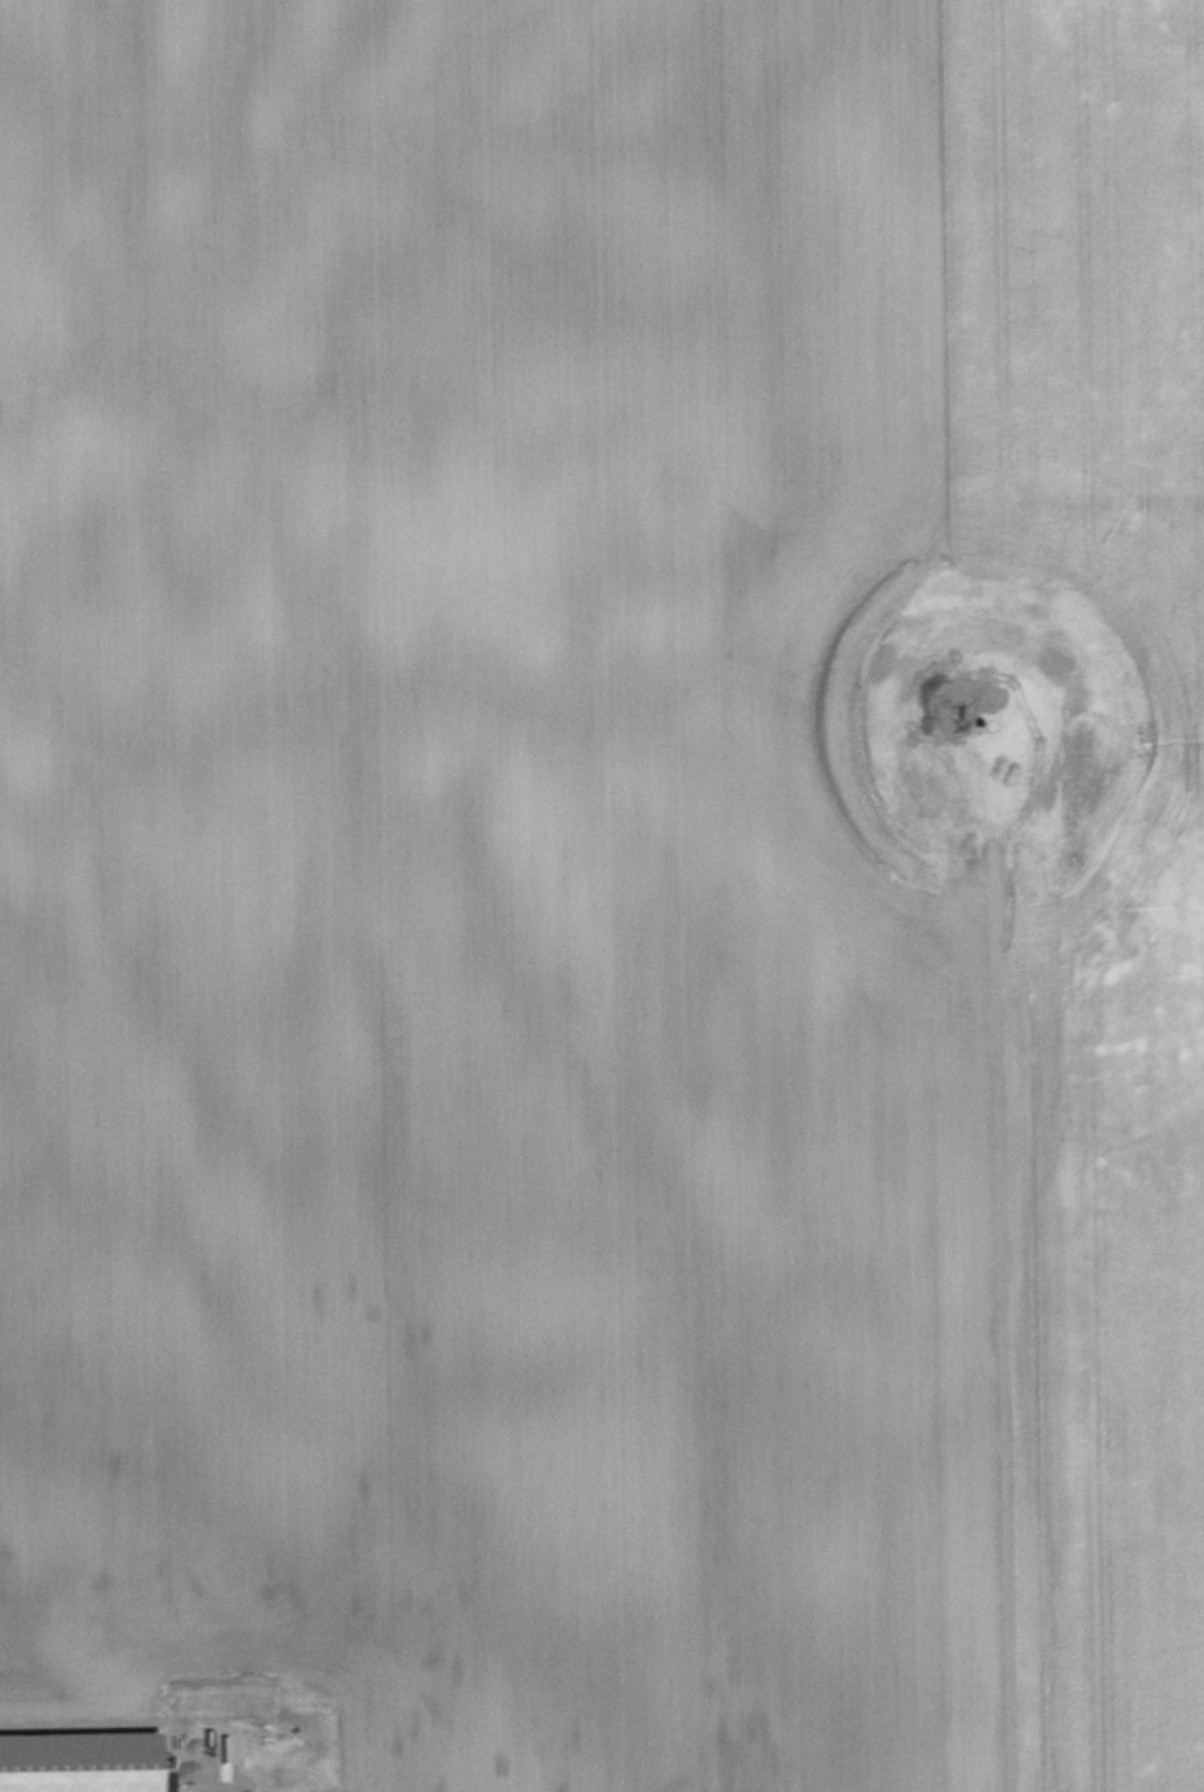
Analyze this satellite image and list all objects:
wind turbine: (951, 723)

